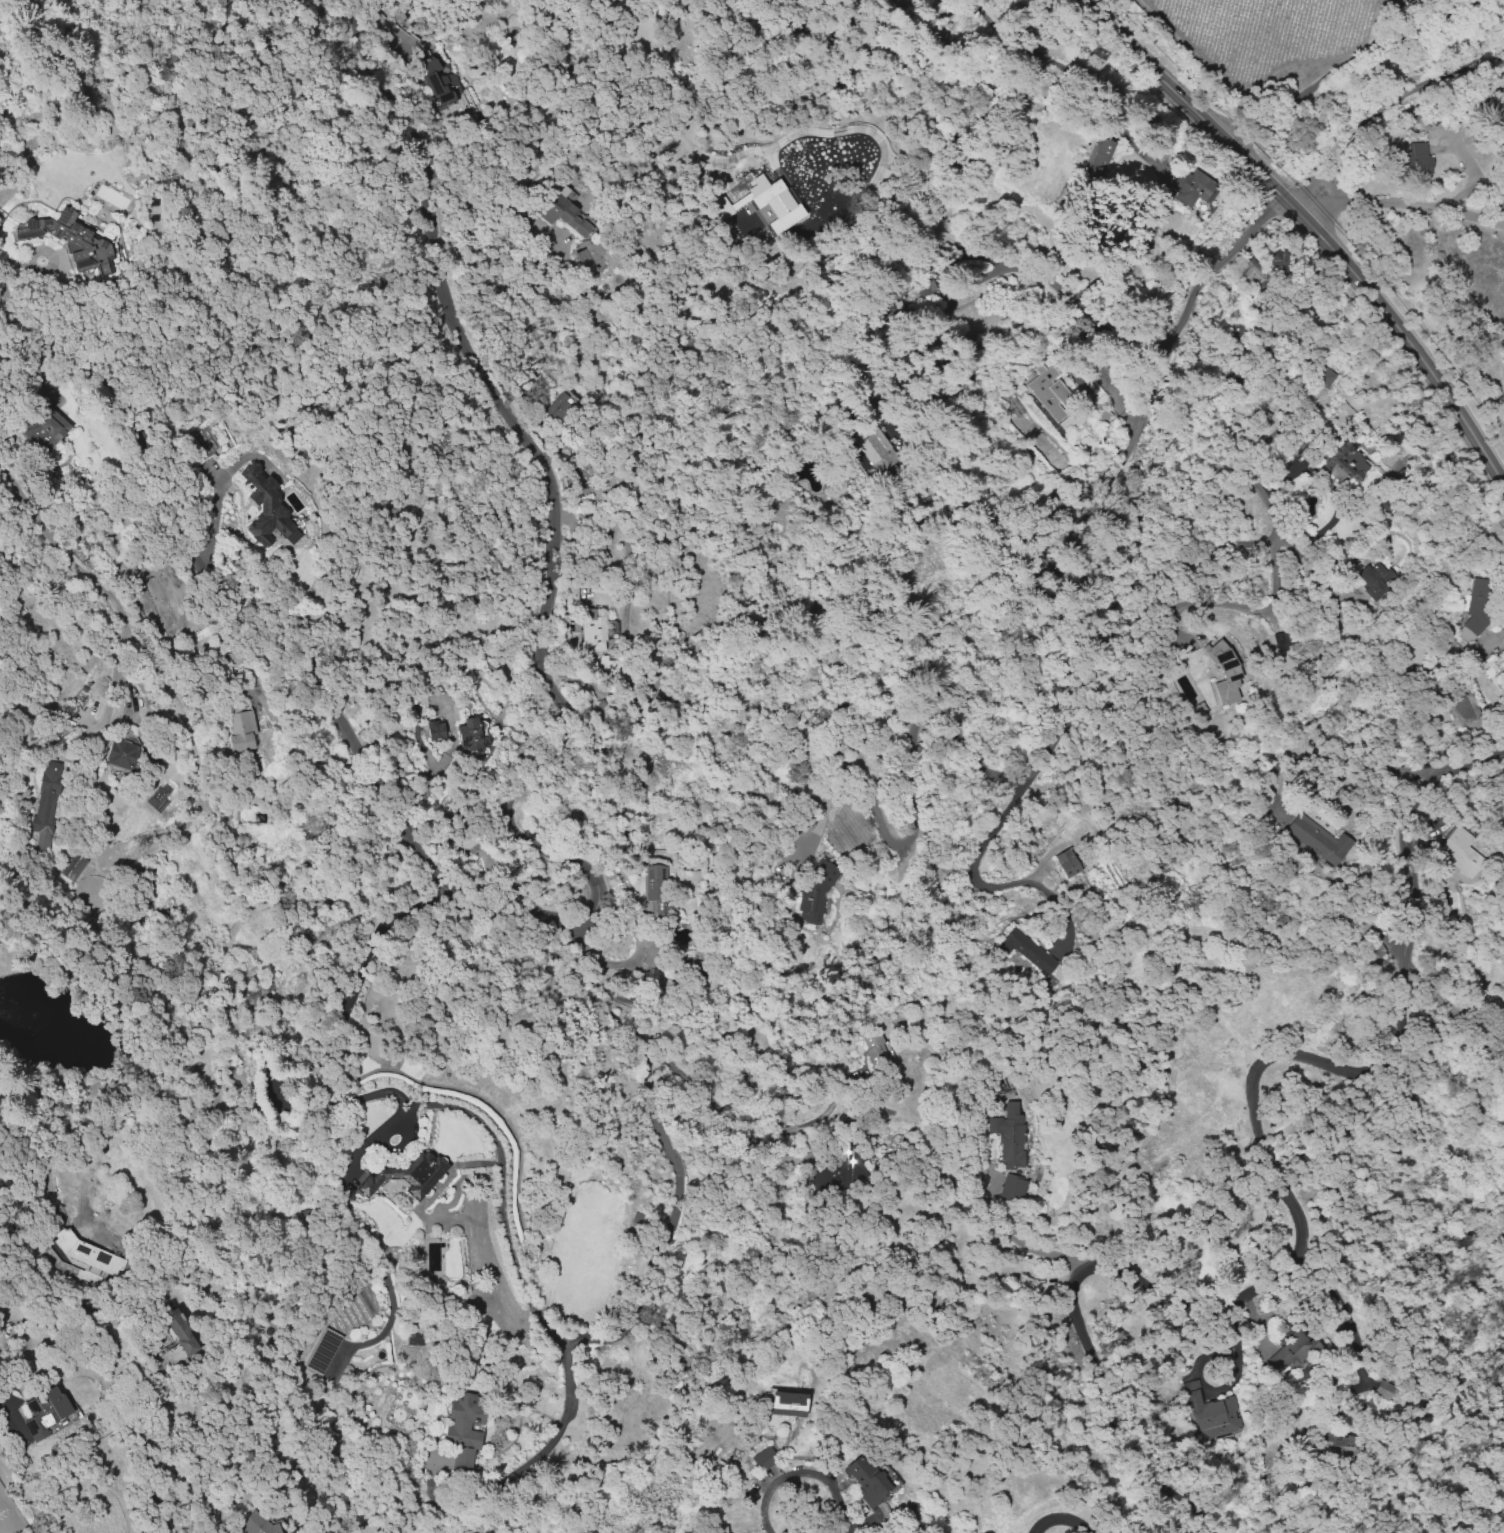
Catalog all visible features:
building: (904, 0)
crop: (1255, 41)
building: (438, 82)
road: (1380, 108)
building: (1410, 116)
building: (1100, 158)
building: (1414, 161)
building: (1193, 186)
building: (765, 202)
road: (1407, 207)
building: (562, 213)
road: (1307, 225)
building: (72, 242)
road: (1010, 264)
building: (1254, 273)
building: (1324, 375)
building: (1052, 396)
building: (561, 406)
road: (1139, 423)
building: (45, 429)
building: (873, 444)
building: (1343, 464)
road: (218, 488)
building: (265, 506)
road: (53, 544)
building: (1374, 578)
building: (1474, 609)
road: (1118, 627)
building: (592, 631)
building: (1281, 640)
building: (1415, 654)
building: (1224, 672)
building: (1461, 710)
building: (435, 729)
building: (241, 730)
building: (470, 735)
building: (123, 753)
road: (1341, 762)
road: (920, 783)
building: (47, 803)
building: (1318, 839)
building: (1460, 851)
road: (560, 856)
road: (974, 858)
building: (1066, 862)
building: (71, 865)
building: (816, 891)
building: (658, 892)
building: (652, 952)
building: (1030, 953)
road: (1434, 993)
road: (1488, 1019)
building: (873, 1049)
road: (656, 1054)
road: (1095, 1062)
building: (1009, 1135)
building: (838, 1172)
road: (1278, 1173)
building: (408, 1175)
road: (500, 1184)
building: (1012, 1187)
building: (88, 1252)
road: (644, 1287)
road: (1341, 1308)
building: (180, 1331)
building: (418, 1338)
road: (127, 1341)
building: (1291, 1349)
building: (322, 1351)
building: (1382, 1389)
building: (787, 1403)
building: (47, 1413)
building: (1212, 1413)
building: (464, 1428)
building: (1337, 1440)
building: (763, 1458)
road: (804, 1471)
building: (867, 1479)
road: (1061, 1517)

